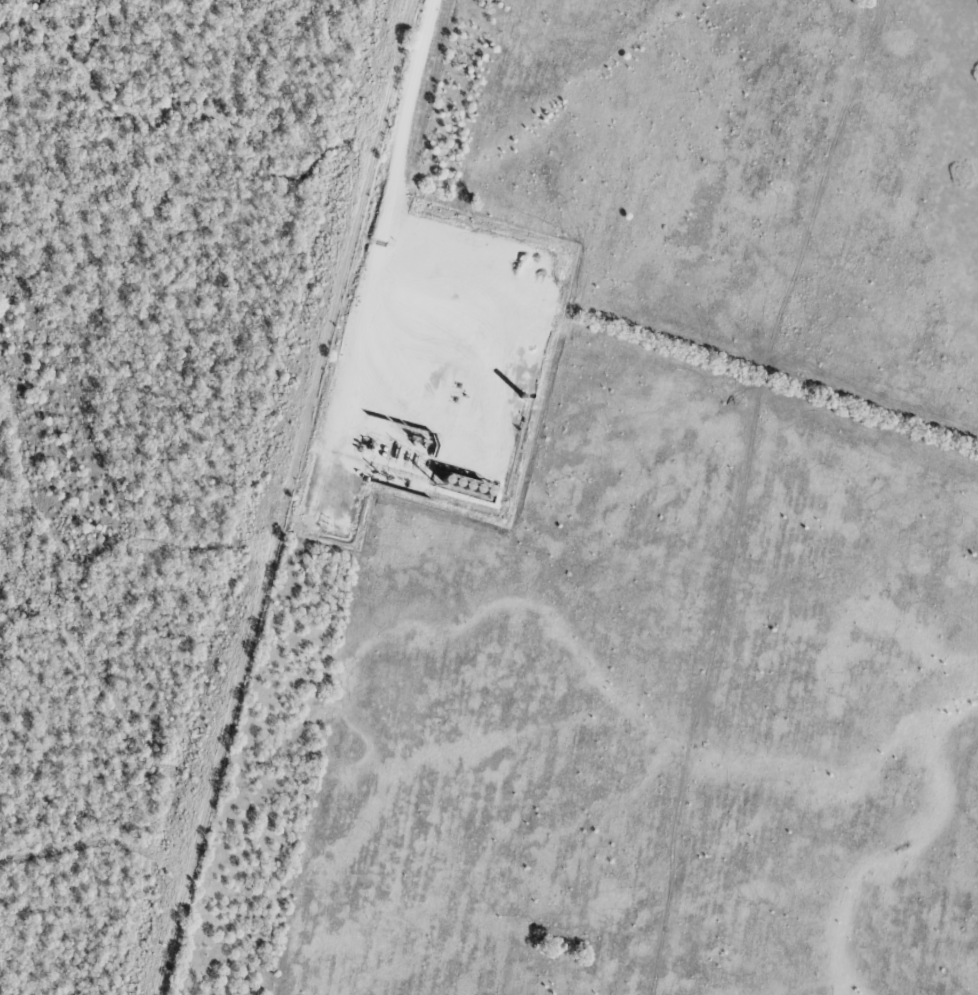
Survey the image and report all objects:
road: (838, 618)

